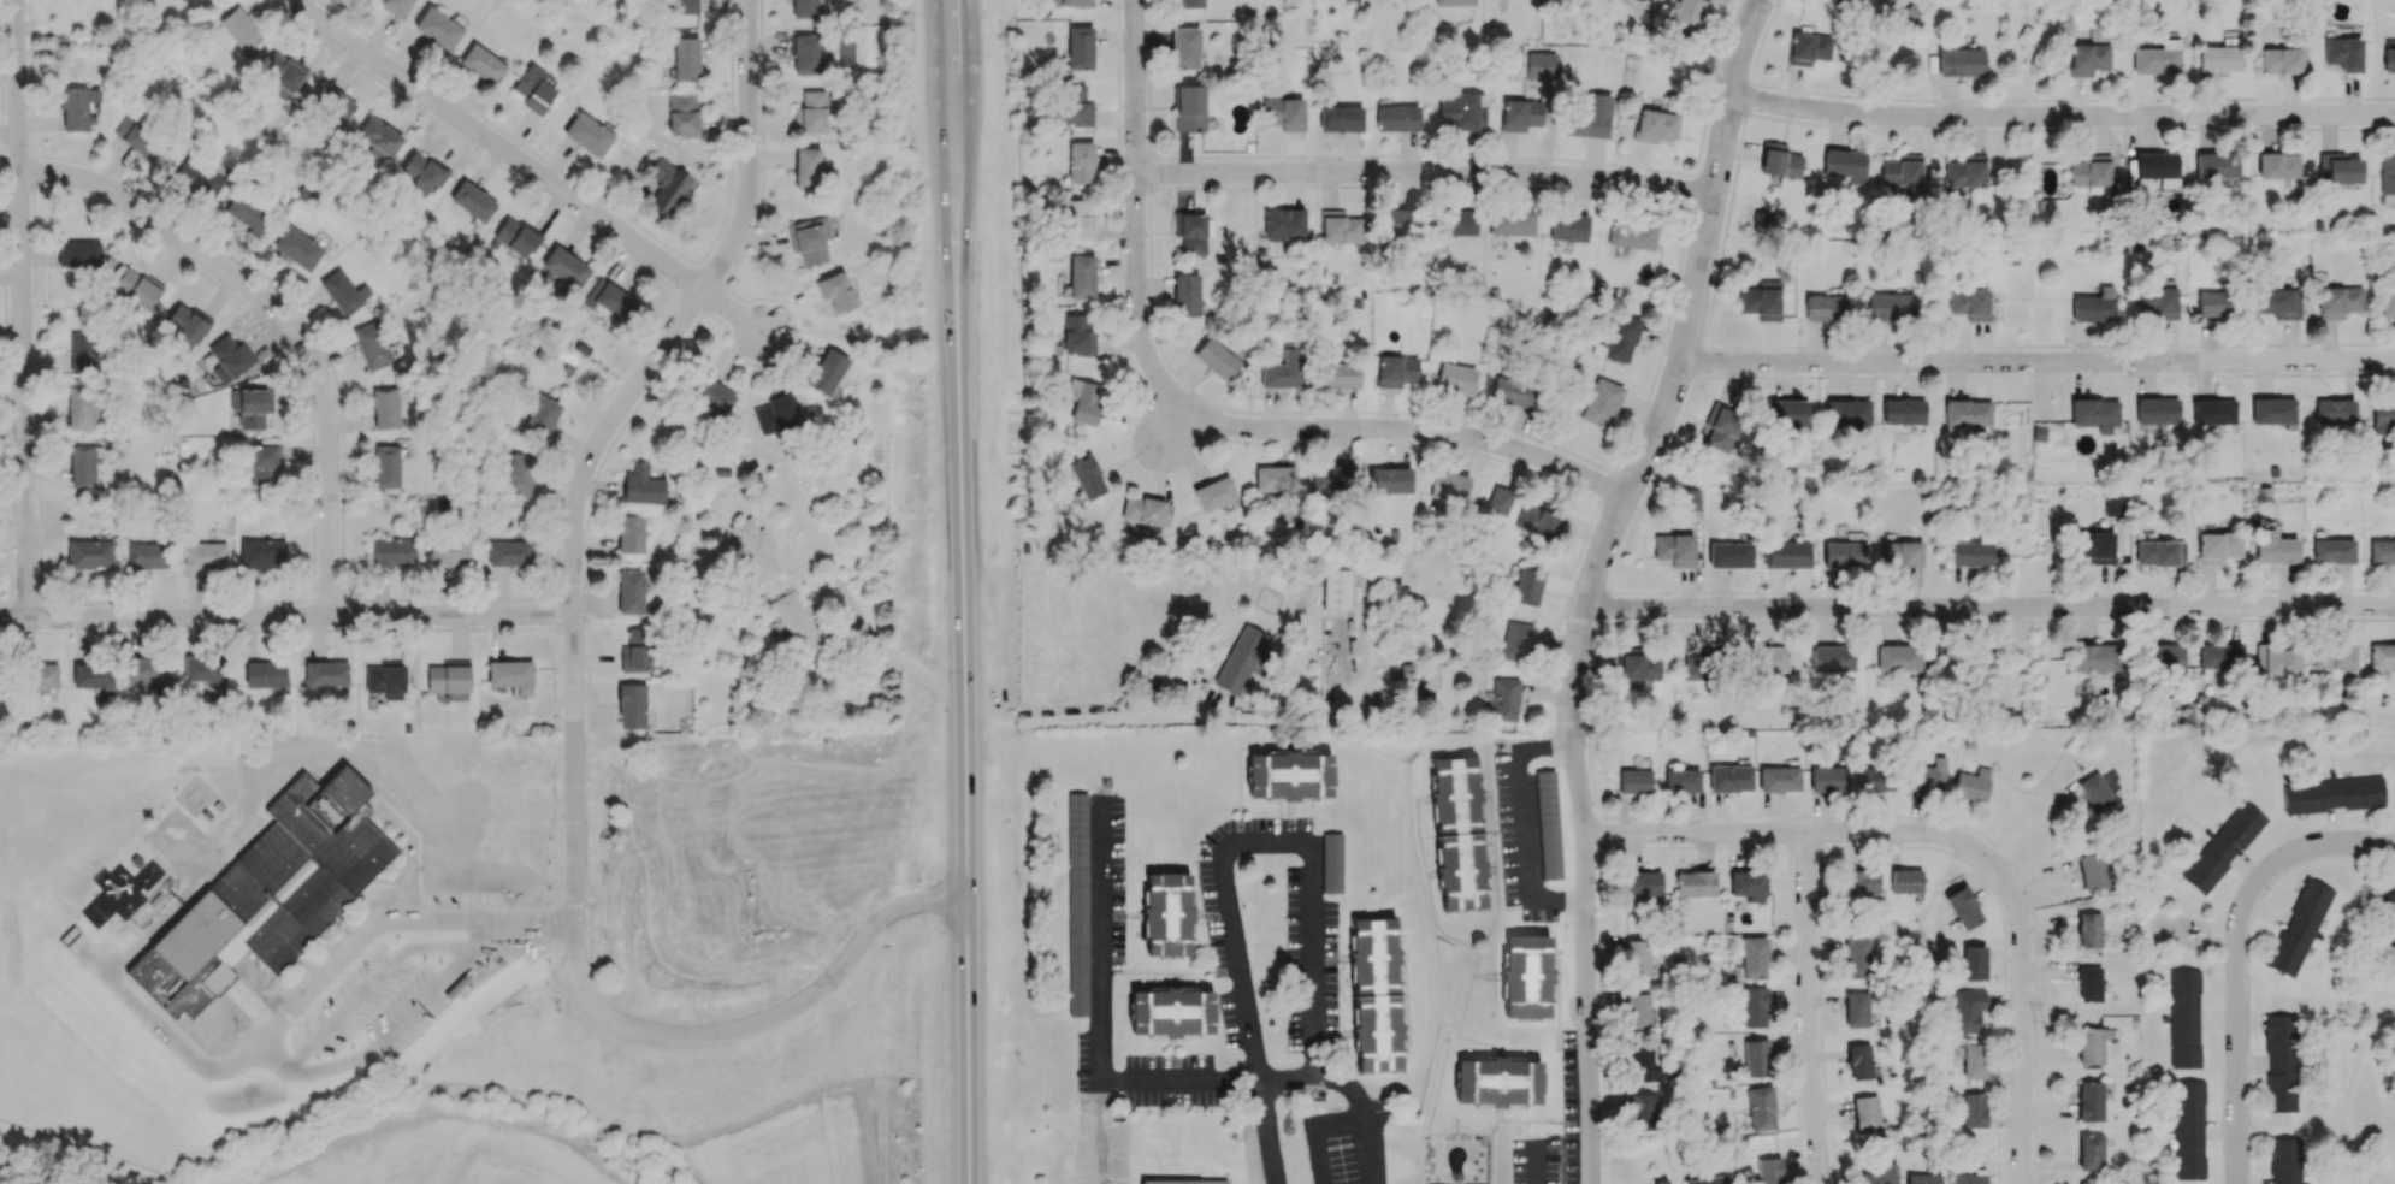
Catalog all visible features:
building: (1639, 0)
road: (1778, 0)
building: (1291, 1)
building: (1071, 2)
building: (1453, 2)
building: (1190, 4)
building: (1834, 4)
building: (681, 6)
building: (396, 7)
building: (806, 8)
building: (1687, 17)
building: (438, 28)
building: (239, 29)
building: (1080, 47)
road: (1758, 47)
building: (1184, 48)
building: (1809, 48)
building: (2342, 53)
building: (804, 54)
building: (2087, 58)
building: (2157, 58)
building: (2219, 58)
building: (686, 59)
building: (2388, 59)
building: (1961, 60)
building: (2281, 60)
building: (483, 64)
building: (1539, 65)
building: (283, 72)
building: (534, 88)
building: (331, 105)
building: (1074, 106)
building: (77, 107)
building: (1189, 107)
building: (1459, 111)
building: (810, 112)
building: (1283, 113)
building: (682, 114)
building: (1520, 114)
road: (2066, 117)
building: (1340, 118)
building: (1396, 118)
building: (1589, 118)
building: (1654, 125)
building: (587, 134)
building: (140, 137)
building: (379, 138)
road: (970, 146)
road: (940, 150)
building: (1081, 161)
building: (1779, 161)
building: (1845, 164)
building: (2216, 165)
building: (2277, 165)
building: (806, 167)
building: (2158, 167)
building: (2338, 168)
building: (2089, 171)
building: (1902, 172)
building: (1965, 172)
building: (2387, 172)
building: (421, 173)
road: (530, 174)
road: (1429, 176)
building: (199, 178)
building: (667, 187)
building: (472, 201)
building: (248, 211)
road: (1139, 213)
building: (1076, 220)
building: (1457, 221)
building: (1512, 223)
building: (1284, 224)
building: (1398, 224)
power tower: (2033, 224)
building: (1341, 226)
building: (1568, 226)
road: (1726, 226)
building: (1190, 231)
building: (1632, 235)
building: (515, 237)
building: (810, 239)
building: (297, 248)
building: (78, 253)
building: (564, 267)
building: (1081, 276)
building: (137, 288)
building: (343, 291)
building: (834, 291)
building: (1187, 294)
building: (2158, 298)
building: (611, 300)
building: (1761, 300)
building: (2337, 301)
building: (2278, 302)
building: (1969, 303)
building: (1890, 306)
building: (2094, 306)
building: (1825, 307)
building: (2387, 307)
road: (25, 309)
building: (185, 324)
road: (280, 324)
building: (1078, 333)
building: (1618, 338)
building: (372, 345)
building: (84, 354)
building: (229, 357)
building: (1216, 359)
road: (2042, 363)
building: (1283, 369)
building: (827, 371)
building: (1395, 371)
building: (1340, 374)
building: (1455, 378)
building: (1513, 392)
building: (712, 395)
building: (1086, 403)
building: (1601, 403)
building: (250, 405)
building: (385, 408)
building: (81, 409)
building: (1903, 410)
building: (2272, 410)
building: (2334, 410)
building: (2213, 412)
building: (1791, 413)
building: (1849, 413)
building: (1967, 413)
building: (2157, 413)
building: (776, 414)
building: (2094, 414)
building: (2383, 414)
building: (539, 415)
road: (1176, 427)
building: (1720, 427)
road: (1414, 430)
road: (601, 443)
building: (264, 464)
building: (82, 466)
building: (386, 466)
building: (519, 473)
building: (1087, 476)
building: (1275, 479)
building: (1332, 479)
building: (1389, 479)
building: (643, 485)
building: (1449, 486)
building: (1213, 493)
building: (1500, 501)
building: (2113, 505)
building: (1146, 510)
building: (1539, 520)
building: (631, 533)
building: (2094, 546)
building: (2217, 546)
building: (2273, 547)
building: (1674, 549)
building: (755, 550)
building: (2332, 550)
building: (448, 551)
building: (1973, 551)
building: (2382, 551)
building: (391, 552)
building: (508, 552)
building: (1900, 552)
building: (2159, 552)
building: (89, 553)
building: (262, 553)
building: (1787, 553)
building: (1844, 553)
building: (147, 555)
building: (205, 555)
building: (1729, 555)
road: (1596, 580)
building: (1526, 586)
building: (1335, 588)
building: (633, 591)
road: (1989, 609)
road: (286, 616)
building: (798, 624)
road: (870, 635)
building: (1516, 641)
building: (640, 652)
building: (2219, 656)
building: (2334, 656)
building: (2382, 656)
building: (1899, 657)
building: (1768, 658)
building: (1832, 658)
building: (2099, 658)
building: (2165, 658)
building: (1243, 659)
building: (2277, 659)
building: (1983, 663)
building: (1638, 664)
building: (1693, 667)
building: (206, 670)
building: (326, 673)
building: (265, 674)
building: (91, 675)
building: (510, 675)
building: (42, 676)
building: (448, 679)
building: (385, 680)
building: (1504, 699)
building: (632, 705)
road: (930, 715)
road: (1095, 721)
power tower: (2041, 724)
road: (990, 738)
road: (965, 742)
road: (1240, 747)
building: (1288, 774)
building: (1927, 775)
building: (1729, 777)
building: (1779, 779)
building: (1828, 779)
building: (1876, 779)
building: (1681, 780)
building: (1633, 781)
building: (1971, 783)
building: (2098, 789)
building: (1455, 793)
road: (1484, 793)
building: (2331, 793)
road: (1289, 807)
road: (1490, 807)
road: (1238, 813)
building: (1548, 825)
parking lot: (1516, 829)
road: (1520, 831)
road: (1862, 835)
road: (1284, 841)
building: (2222, 847)
road: (2308, 849)
building: (1331, 862)
building: (1461, 870)
building: (2092, 871)
road: (1495, 872)
building: (1861, 881)
building: (1905, 881)
parking lot: (1117, 882)
building: (1695, 883)
building: (1643, 884)
building: (1748, 884)
building: (274, 899)
building: (1077, 904)
building: (1962, 907)
building: (2390, 912)
building: (1166, 913)
road: (1129, 914)
road: (1195, 914)
building: (2299, 927)
building: (2088, 930)
road: (1100, 939)
parking lot: (1312, 942)
road: (2220, 942)
building: (1373, 953)
building: (1856, 957)
building: (1636, 958)
building: (1754, 958)
building: (1973, 963)
road: (1557, 965)
road: (1157, 972)
road: (1488, 975)
road: (1556, 975)
building: (1526, 976)
road: (1171, 977)
road: (1471, 981)
building: (2088, 983)
parking lot: (335, 999)
building: (1754, 1007)
building: (1856, 1008)
road: (1814, 1010)
building: (1964, 1010)
road: (177, 1011)
building: (1637, 1011)
building: (1170, 1013)
road: (1557, 1017)
building: (2183, 1018)
power tower: (2050, 1020)
road: (755, 1026)
road: (278, 1029)
building: (1376, 1030)
road: (1407, 1038)
road: (1477, 1041)
road: (1254, 1043)
road: (2236, 1044)
building: (2089, 1046)
road: (1171, 1048)
building: (1756, 1058)
building: (1973, 1060)
building: (1859, 1061)
parking lot: (1096, 1062)
building: (1642, 1062)
building: (2279, 1062)
parking lot: (1169, 1078)
road: (1279, 1078)
building: (1498, 1081)
road: (2022, 1089)
road: (2348, 1090)
parking lot: (1569, 1091)
building: (2089, 1101)
road: (1497, 1108)
building: (1760, 1108)
building: (1973, 1109)
building: (1642, 1111)
road: (1362, 1113)
building: (1865, 1113)
road: (1497, 1117)
road: (1544, 1119)
road: (1314, 1129)
building: (2188, 1129)
road: (1105, 1131)
parking lot: (1346, 1143)
parking lot: (1252, 1147)
parking lot: (1101, 1150)
building: (2091, 1152)
road: (1489, 1160)
building: (2284, 1160)
building: (1768, 1170)
building: (1880, 1174)
building: (1922, 1178)
building: (1968, 1178)
building: (1705, 1180)
building: (1184, 1182)
building: (1660, 1182)
building: (2089, 1183)

